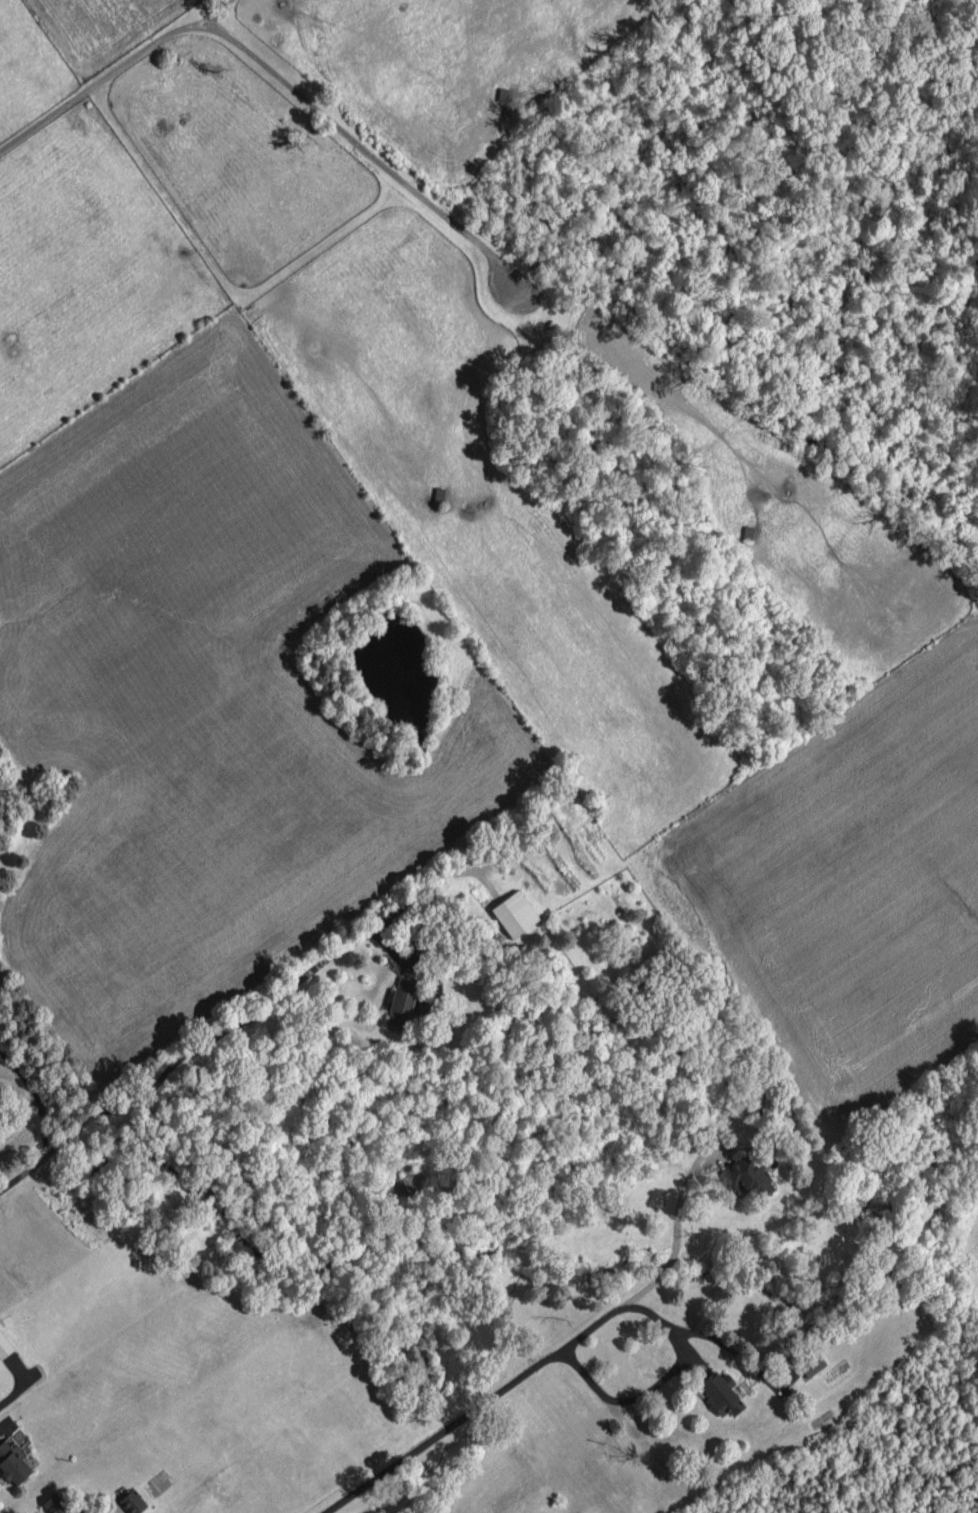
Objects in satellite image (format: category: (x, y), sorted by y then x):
building: (513, 913)
road: (194, 1049)
building: (747, 1177)
road: (676, 1236)
building: (4, 1346)
building: (808, 1362)
road: (658, 1381)
building: (720, 1392)
road: (472, 1409)
building: (12, 1464)
building: (132, 1501)
building: (58, 1506)

